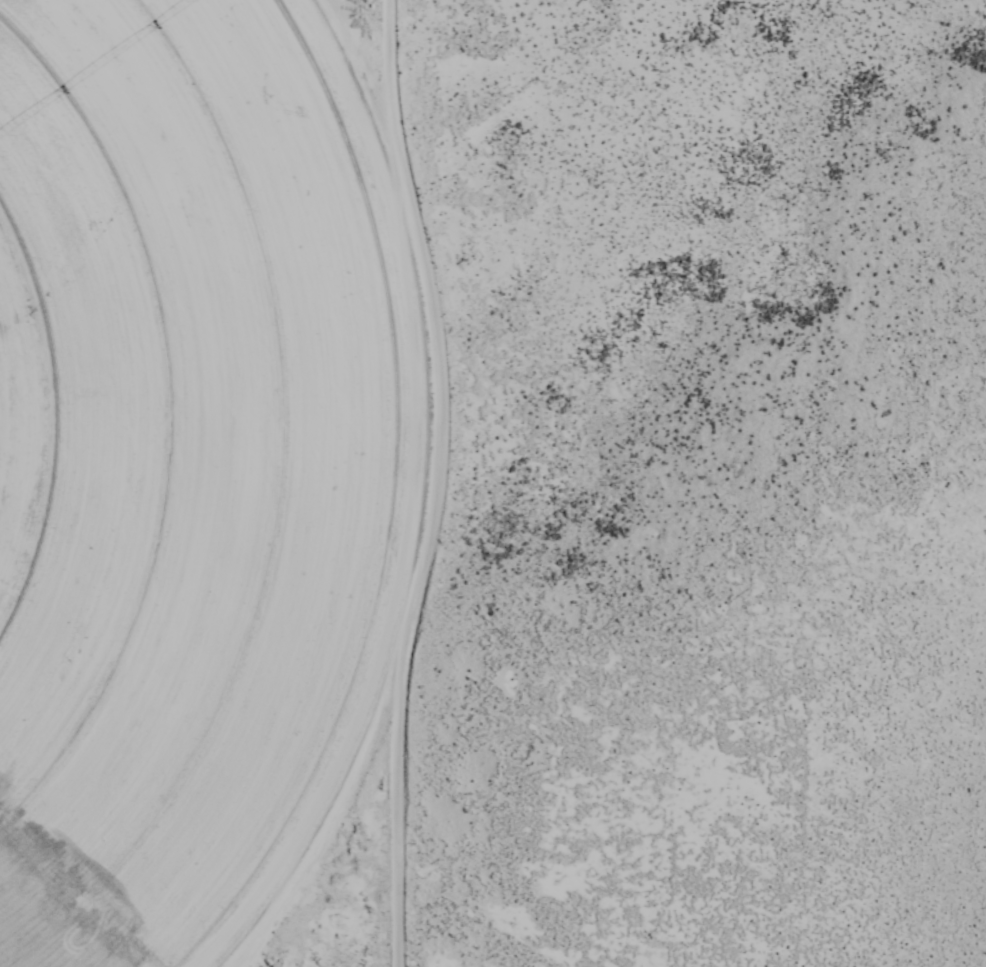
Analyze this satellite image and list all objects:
crop: (174, 468)
road: (435, 482)

